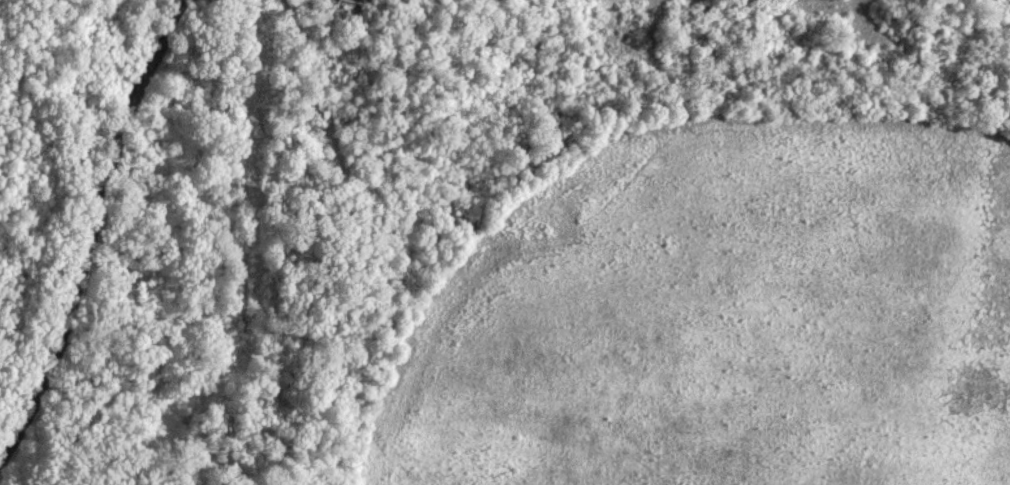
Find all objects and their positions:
road: (189, 1)
road: (88, 231)

